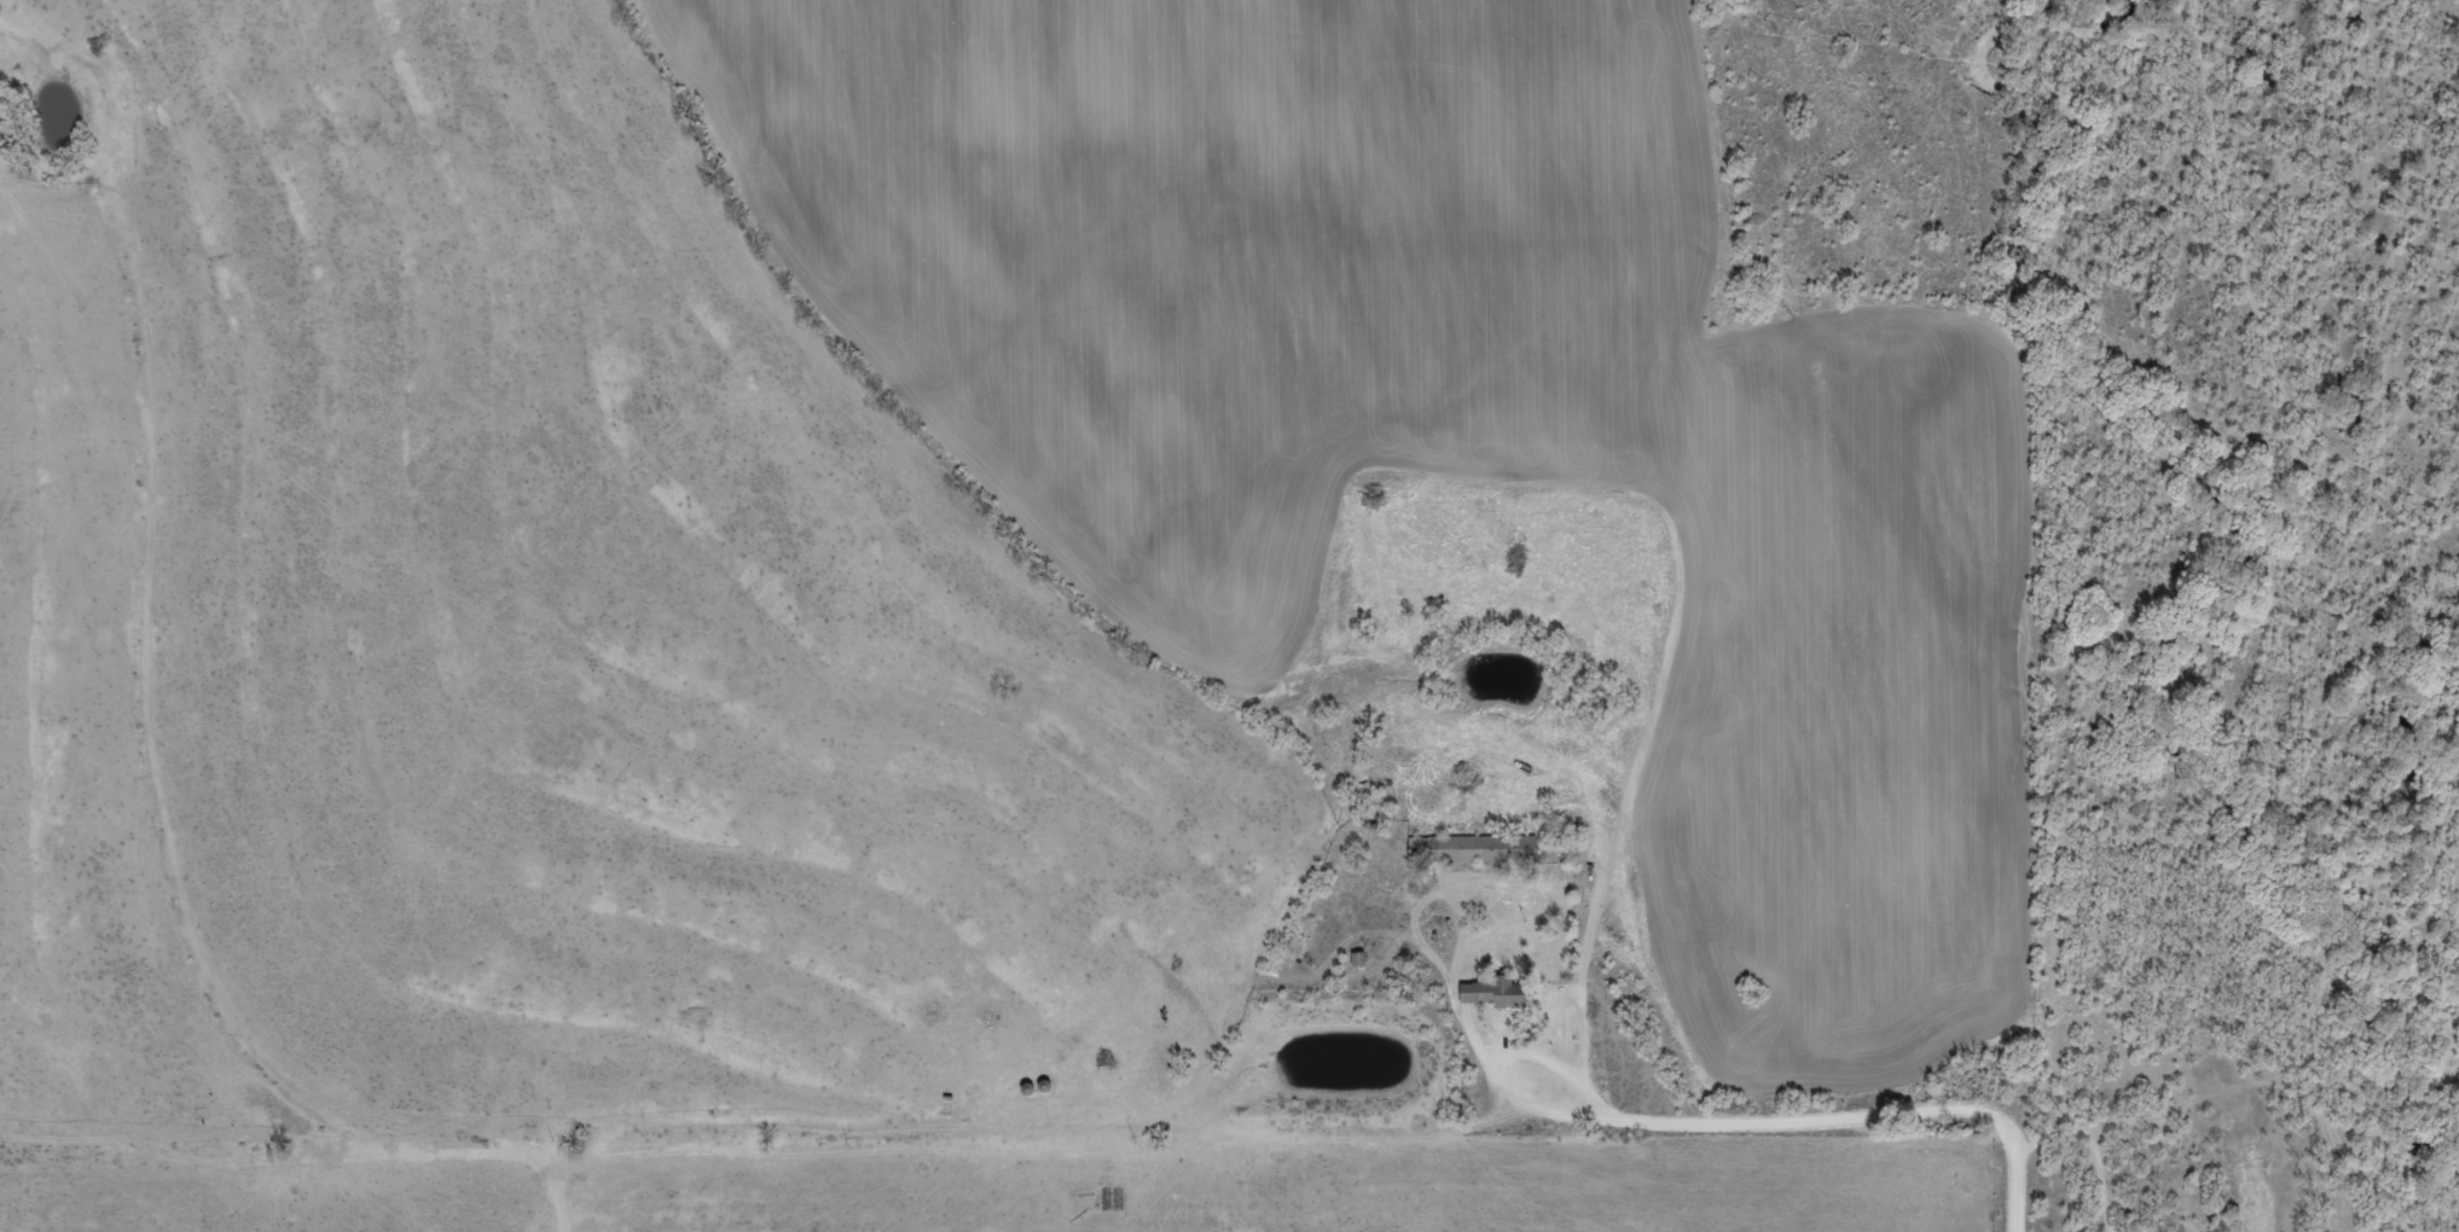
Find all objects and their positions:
building: (1494, 992)
road: (1693, 1152)
road: (2000, 1209)

